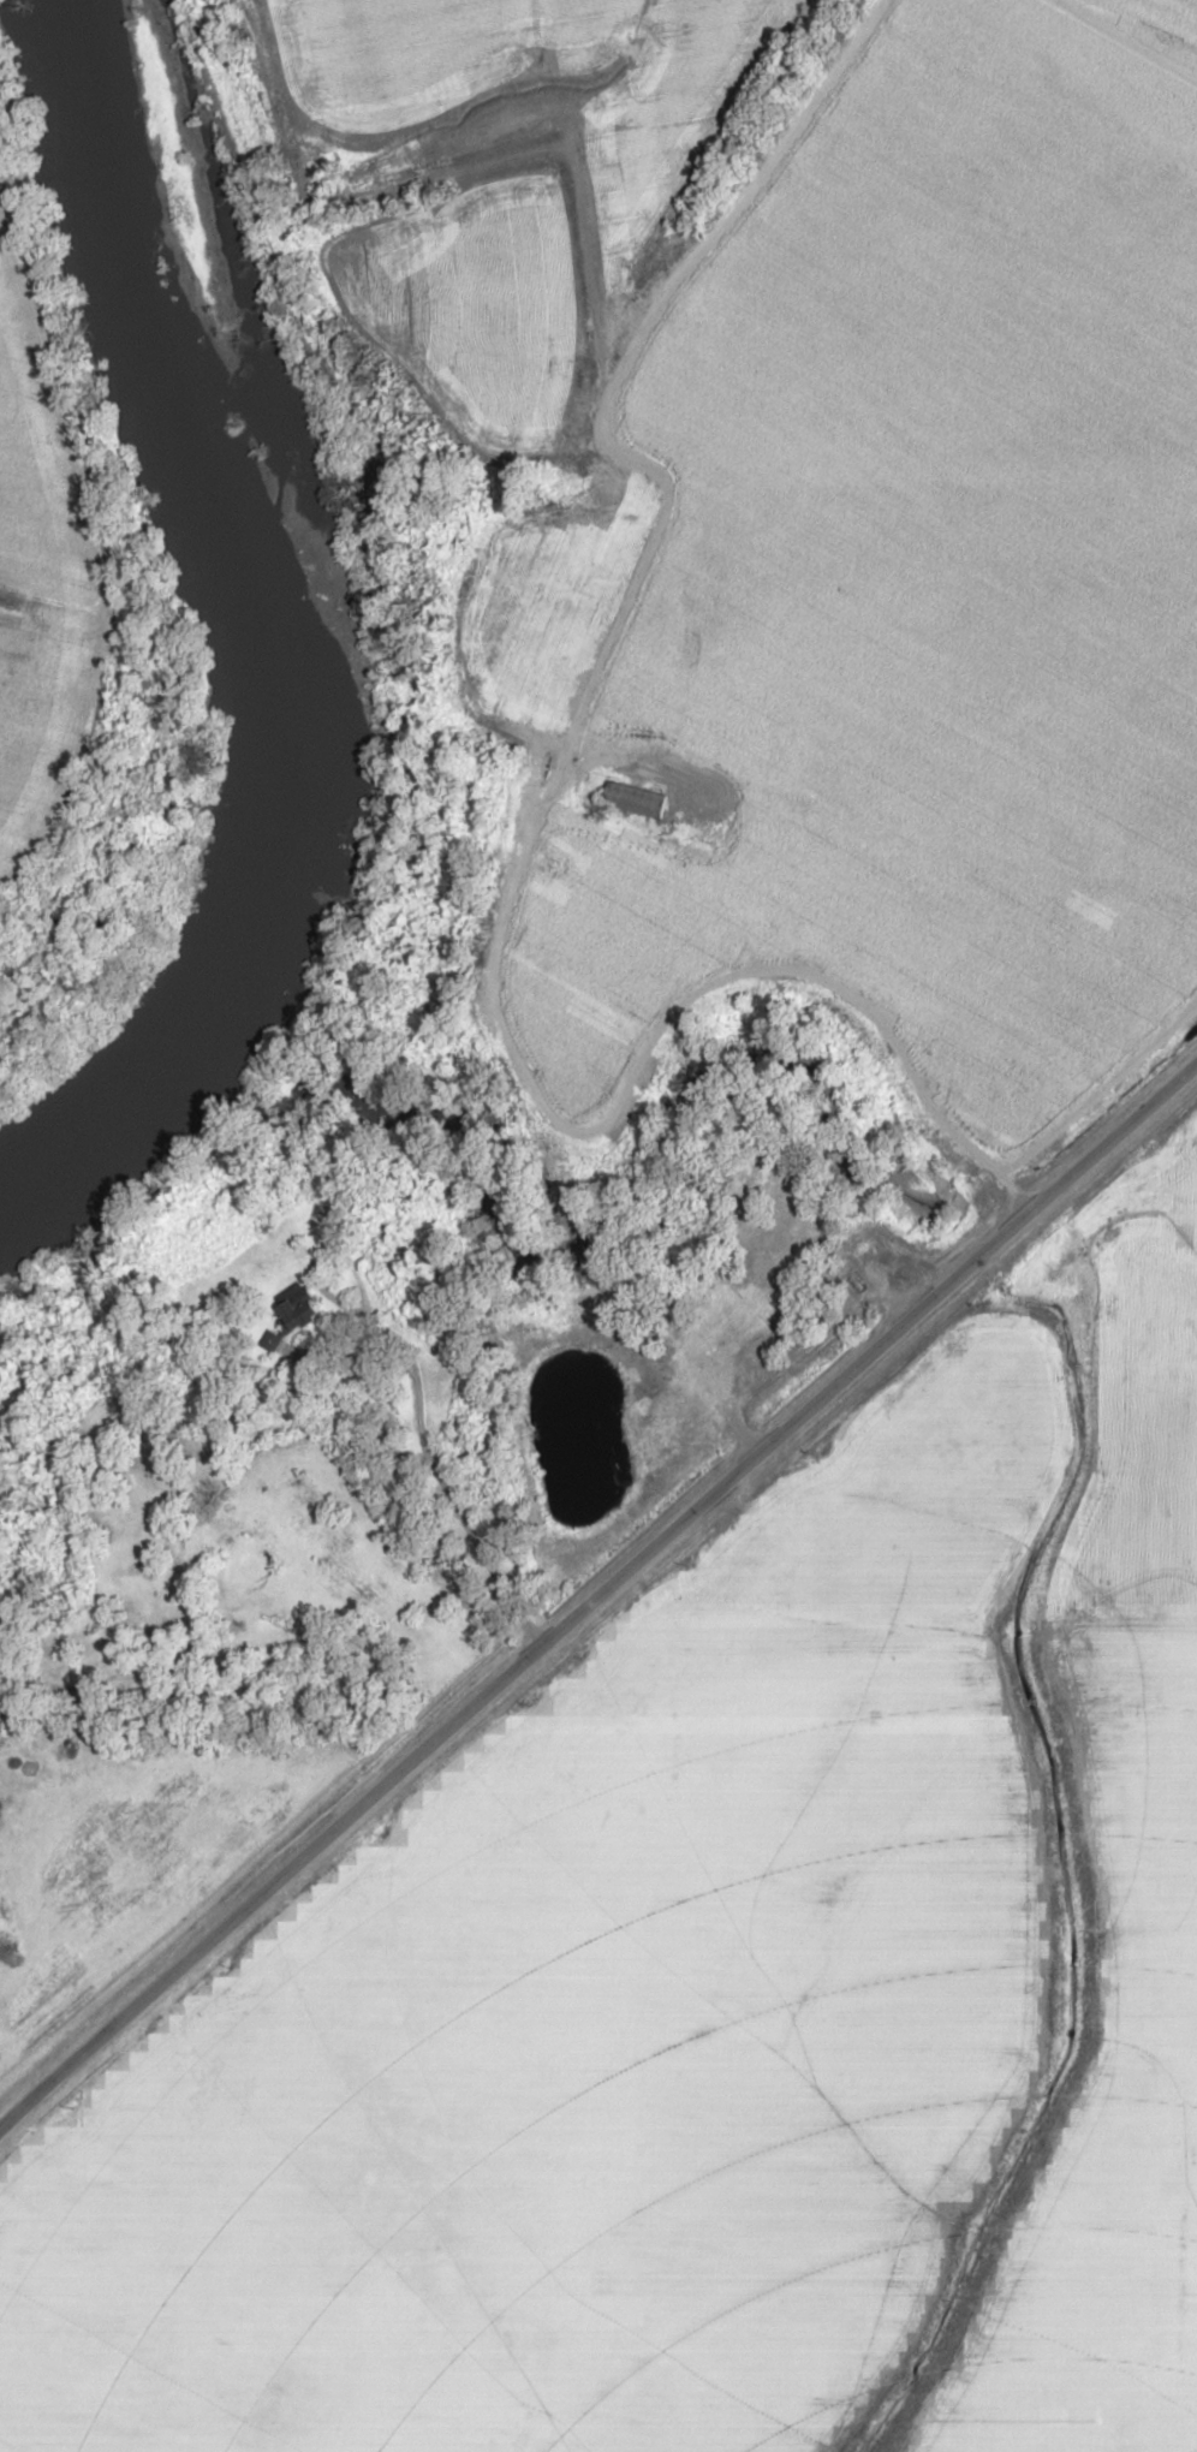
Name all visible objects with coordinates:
building: (1047, 642)
river: (272, 648)
road: (679, 749)
building: (632, 798)
road: (739, 960)
building: (710, 1357)
road: (424, 1446)
road: (600, 1584)

